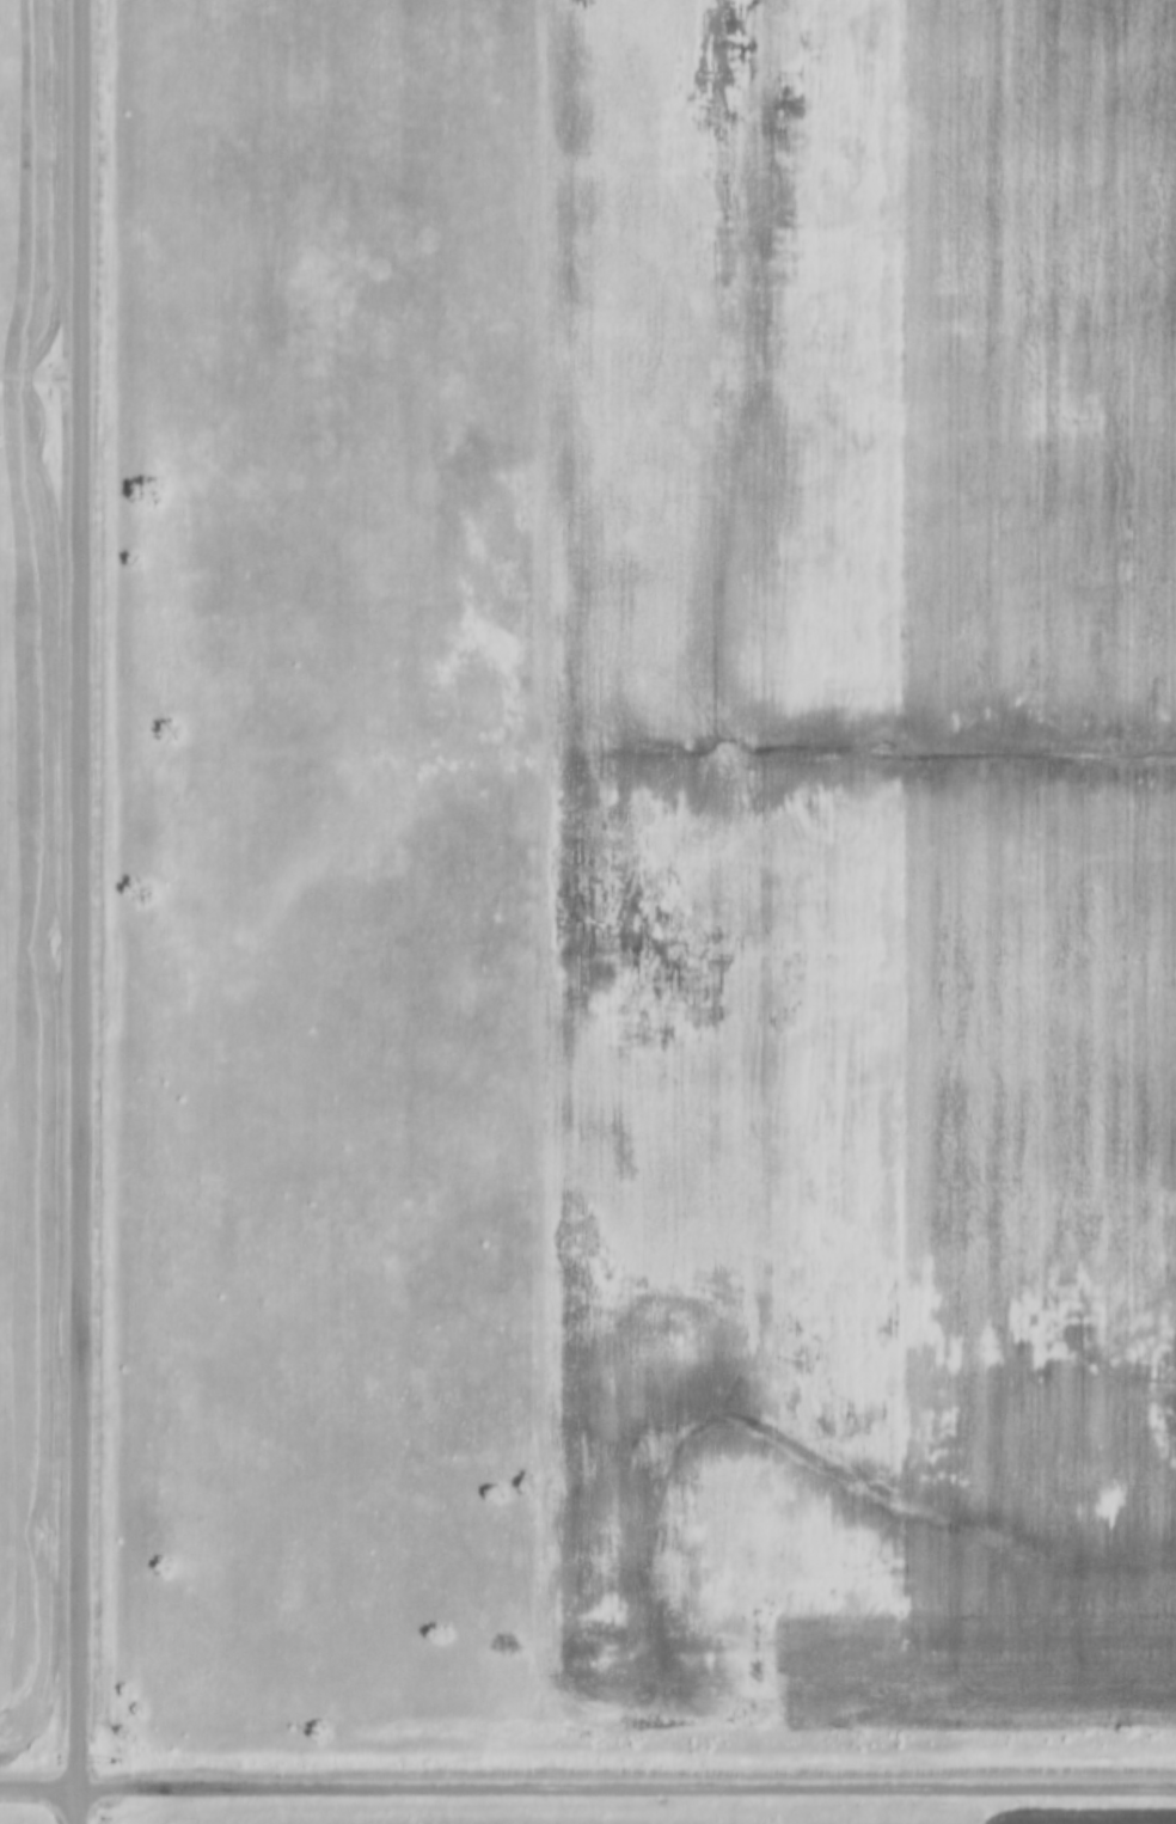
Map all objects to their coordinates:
road: (87, 912)
road: (631, 1789)
road: (43, 1792)

